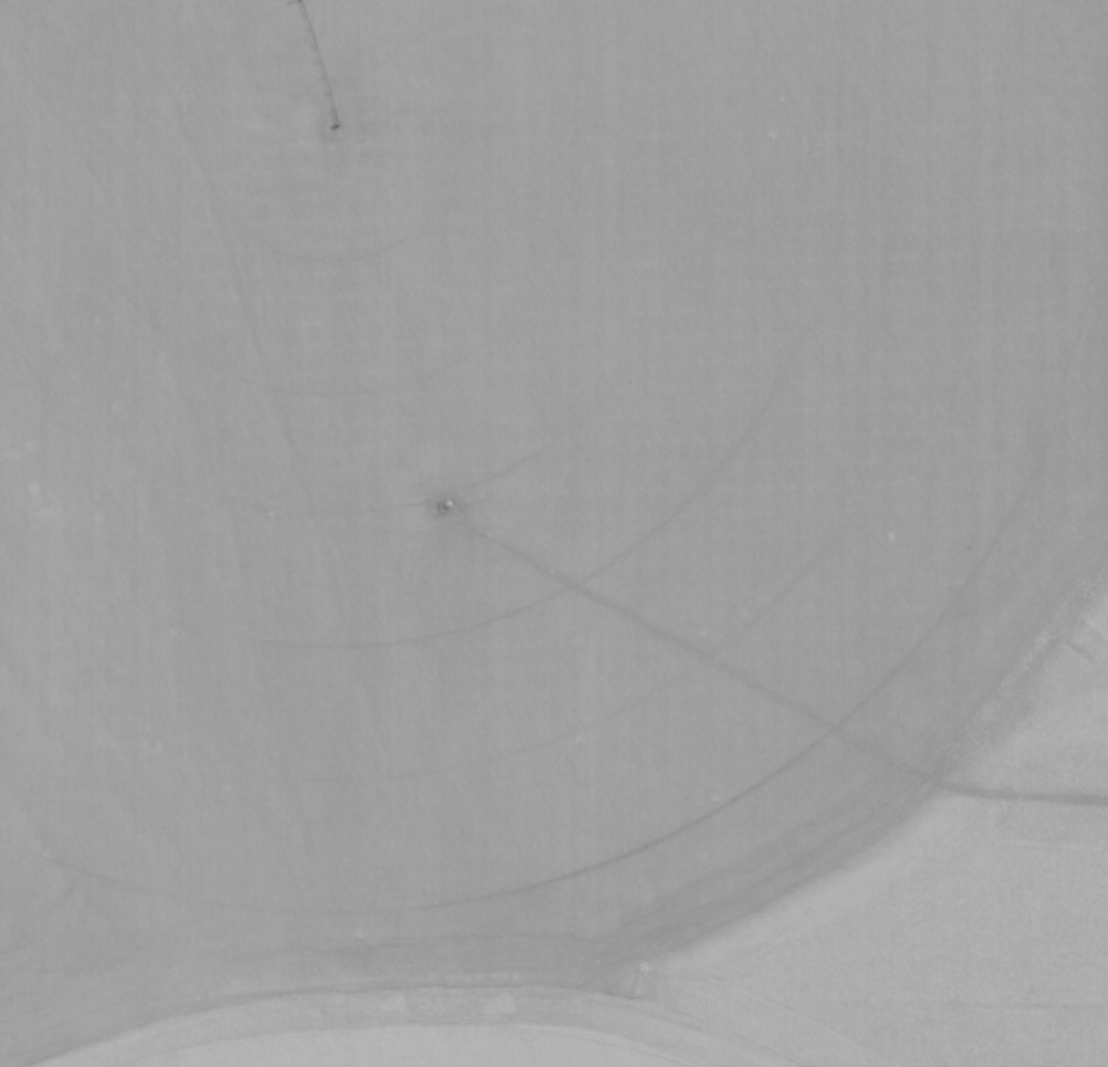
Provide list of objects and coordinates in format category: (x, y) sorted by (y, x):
crop: (518, 459)
crop: (388, 1036)

